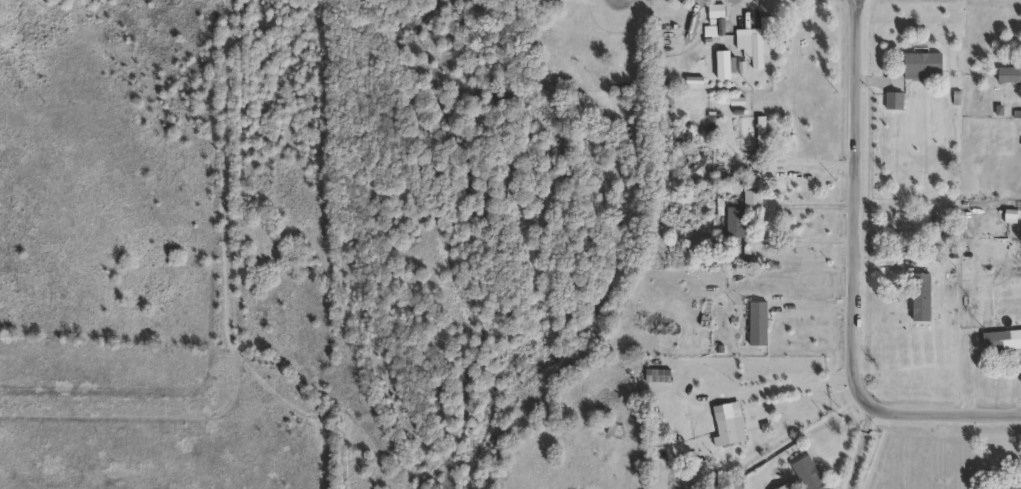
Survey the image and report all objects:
road: (748, 6)
road: (764, 9)
building: (754, 48)
building: (922, 66)
building: (1009, 76)
building: (895, 102)
building: (762, 138)
road: (813, 164)
road: (774, 223)
building: (736, 224)
road: (856, 282)
building: (921, 299)
road: (818, 301)
building: (759, 326)
building: (1001, 343)
road: (794, 389)
building: (731, 432)
road: (860, 449)
building: (808, 475)
building: (1007, 486)
building: (787, 487)

